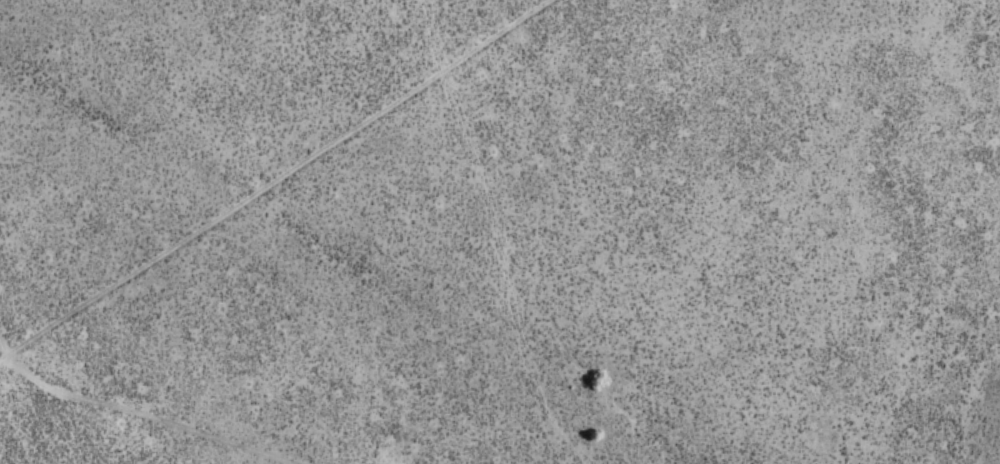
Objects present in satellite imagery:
road: (292, 174)
road: (19, 202)
road: (8, 234)
road: (187, 406)

